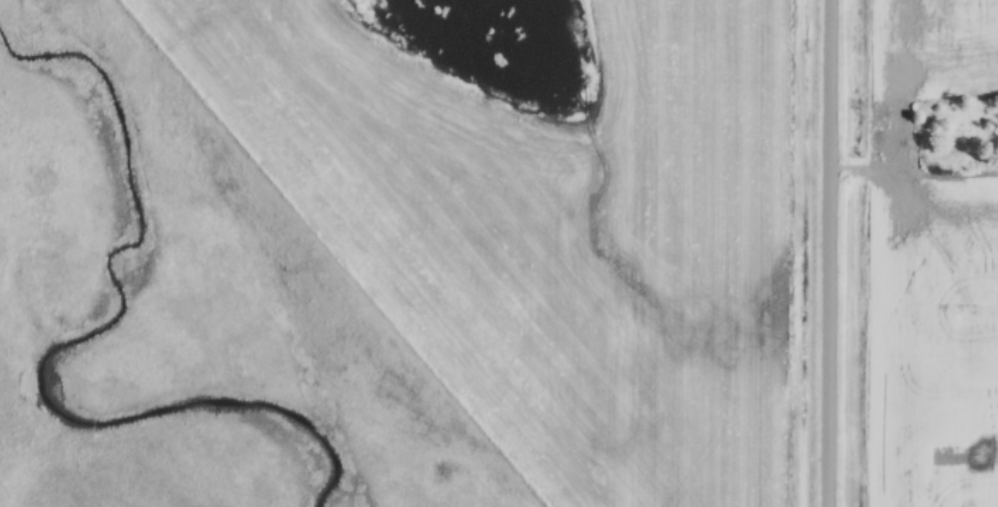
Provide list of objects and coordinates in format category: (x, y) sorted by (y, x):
road: (832, 253)

